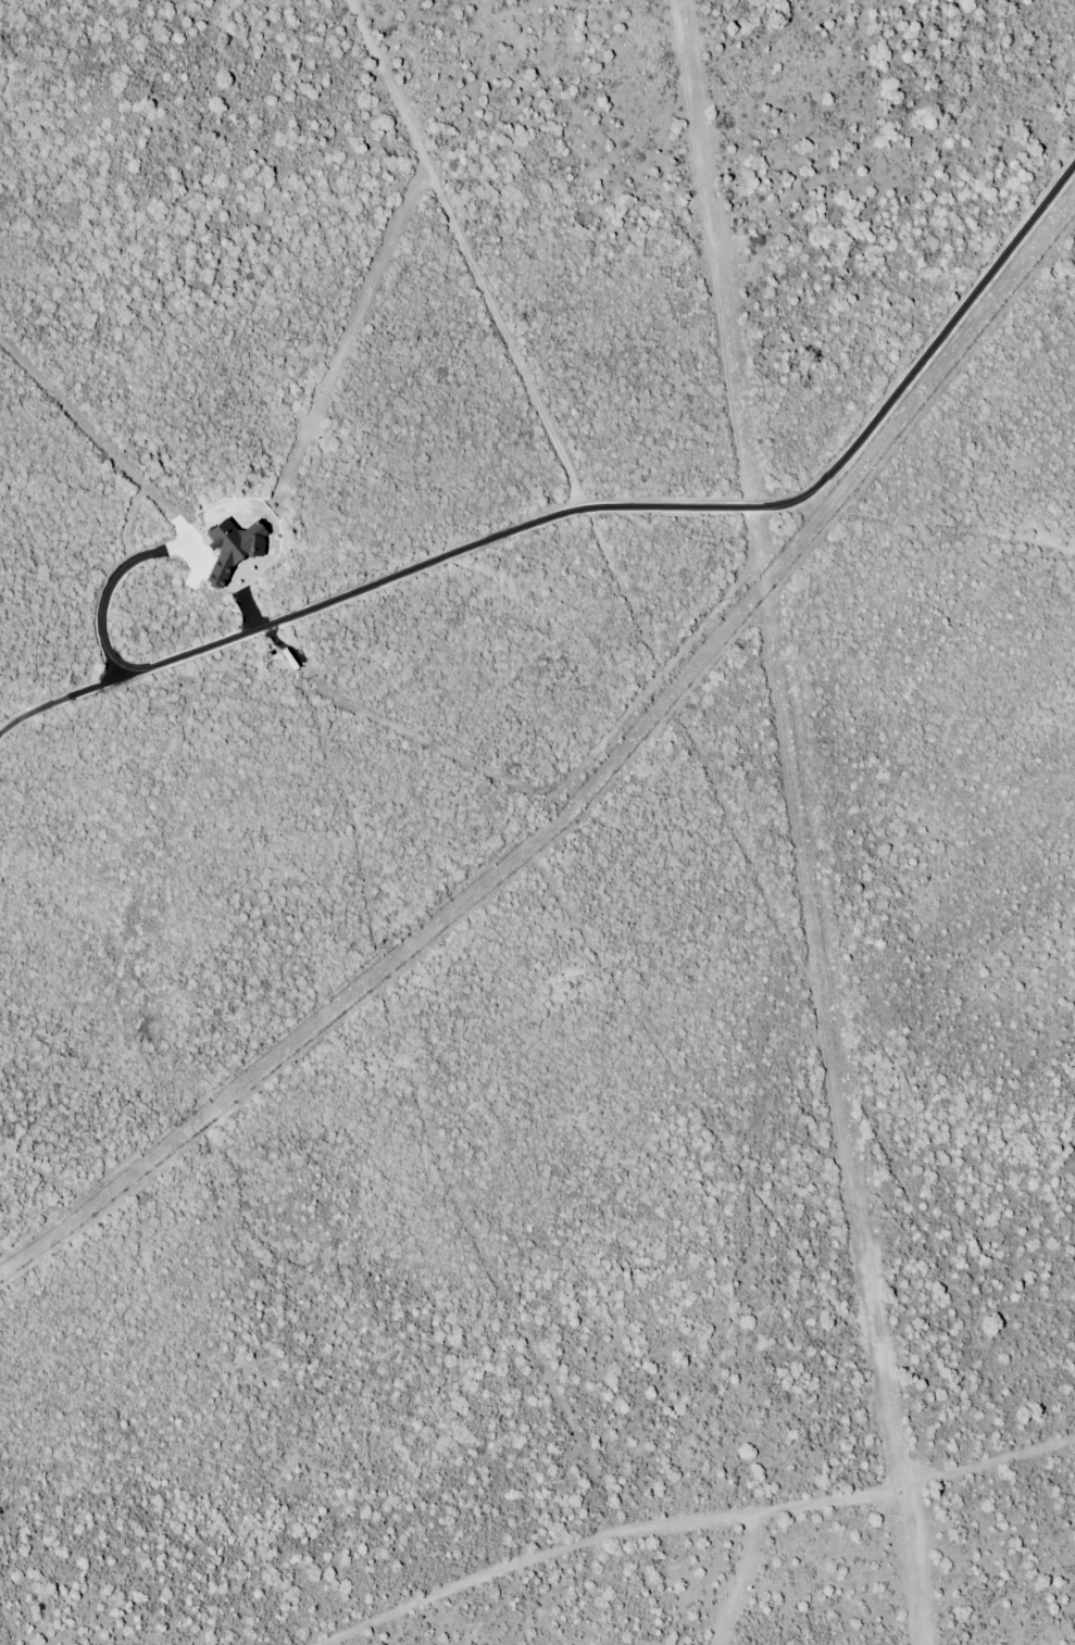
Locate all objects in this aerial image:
road: (679, 502)

